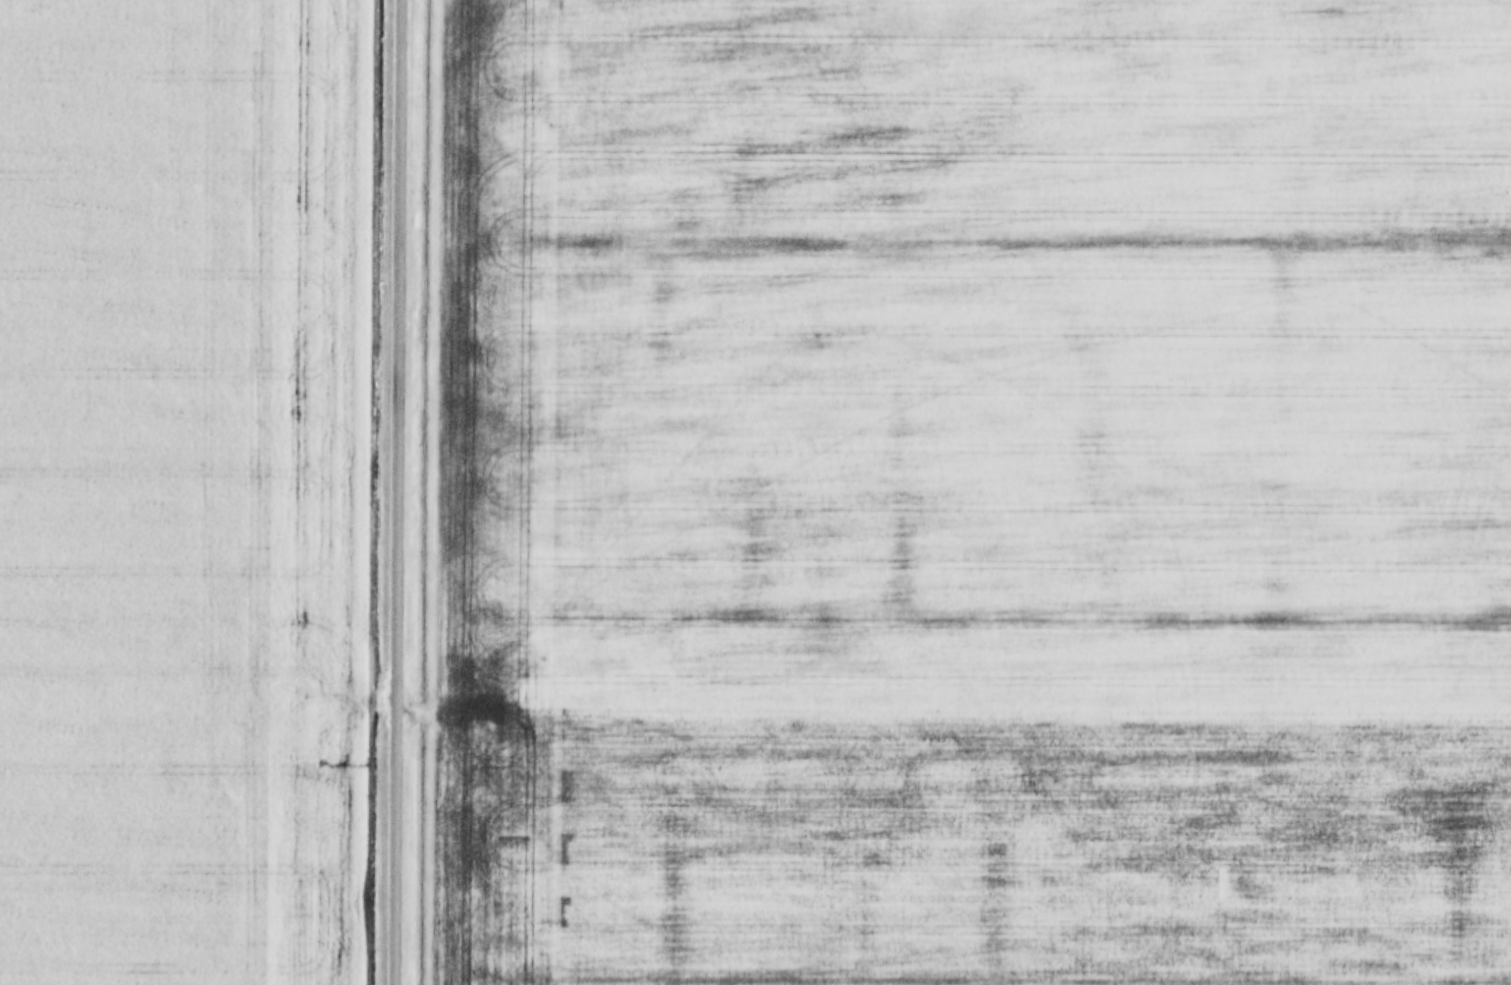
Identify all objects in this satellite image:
road: (395, 492)

